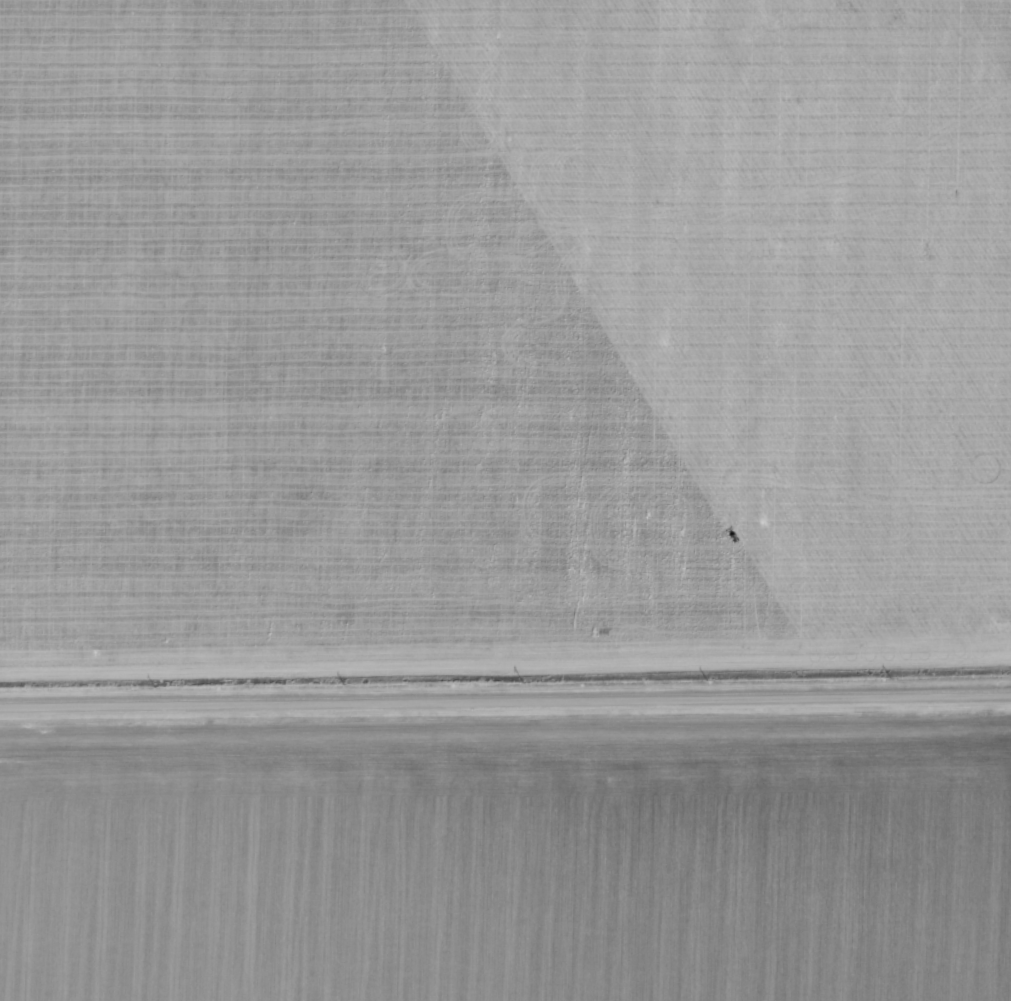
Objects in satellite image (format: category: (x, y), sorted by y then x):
road: (505, 702)

